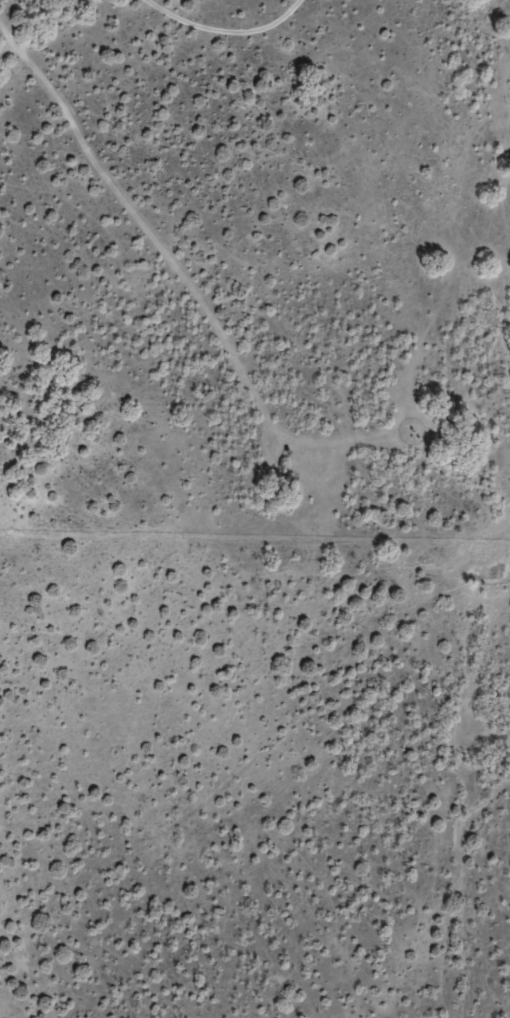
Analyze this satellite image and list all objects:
road: (224, 31)

